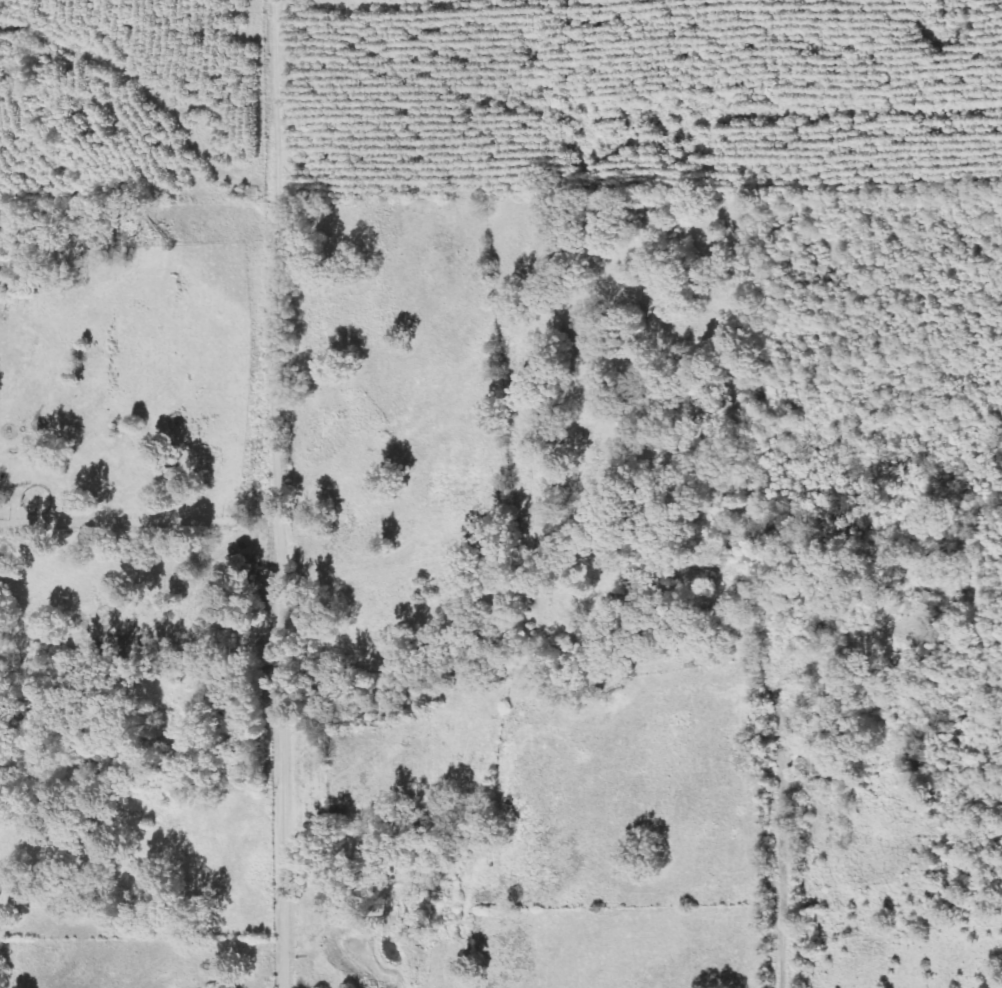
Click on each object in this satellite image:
road: (285, 849)
road: (707, 871)

